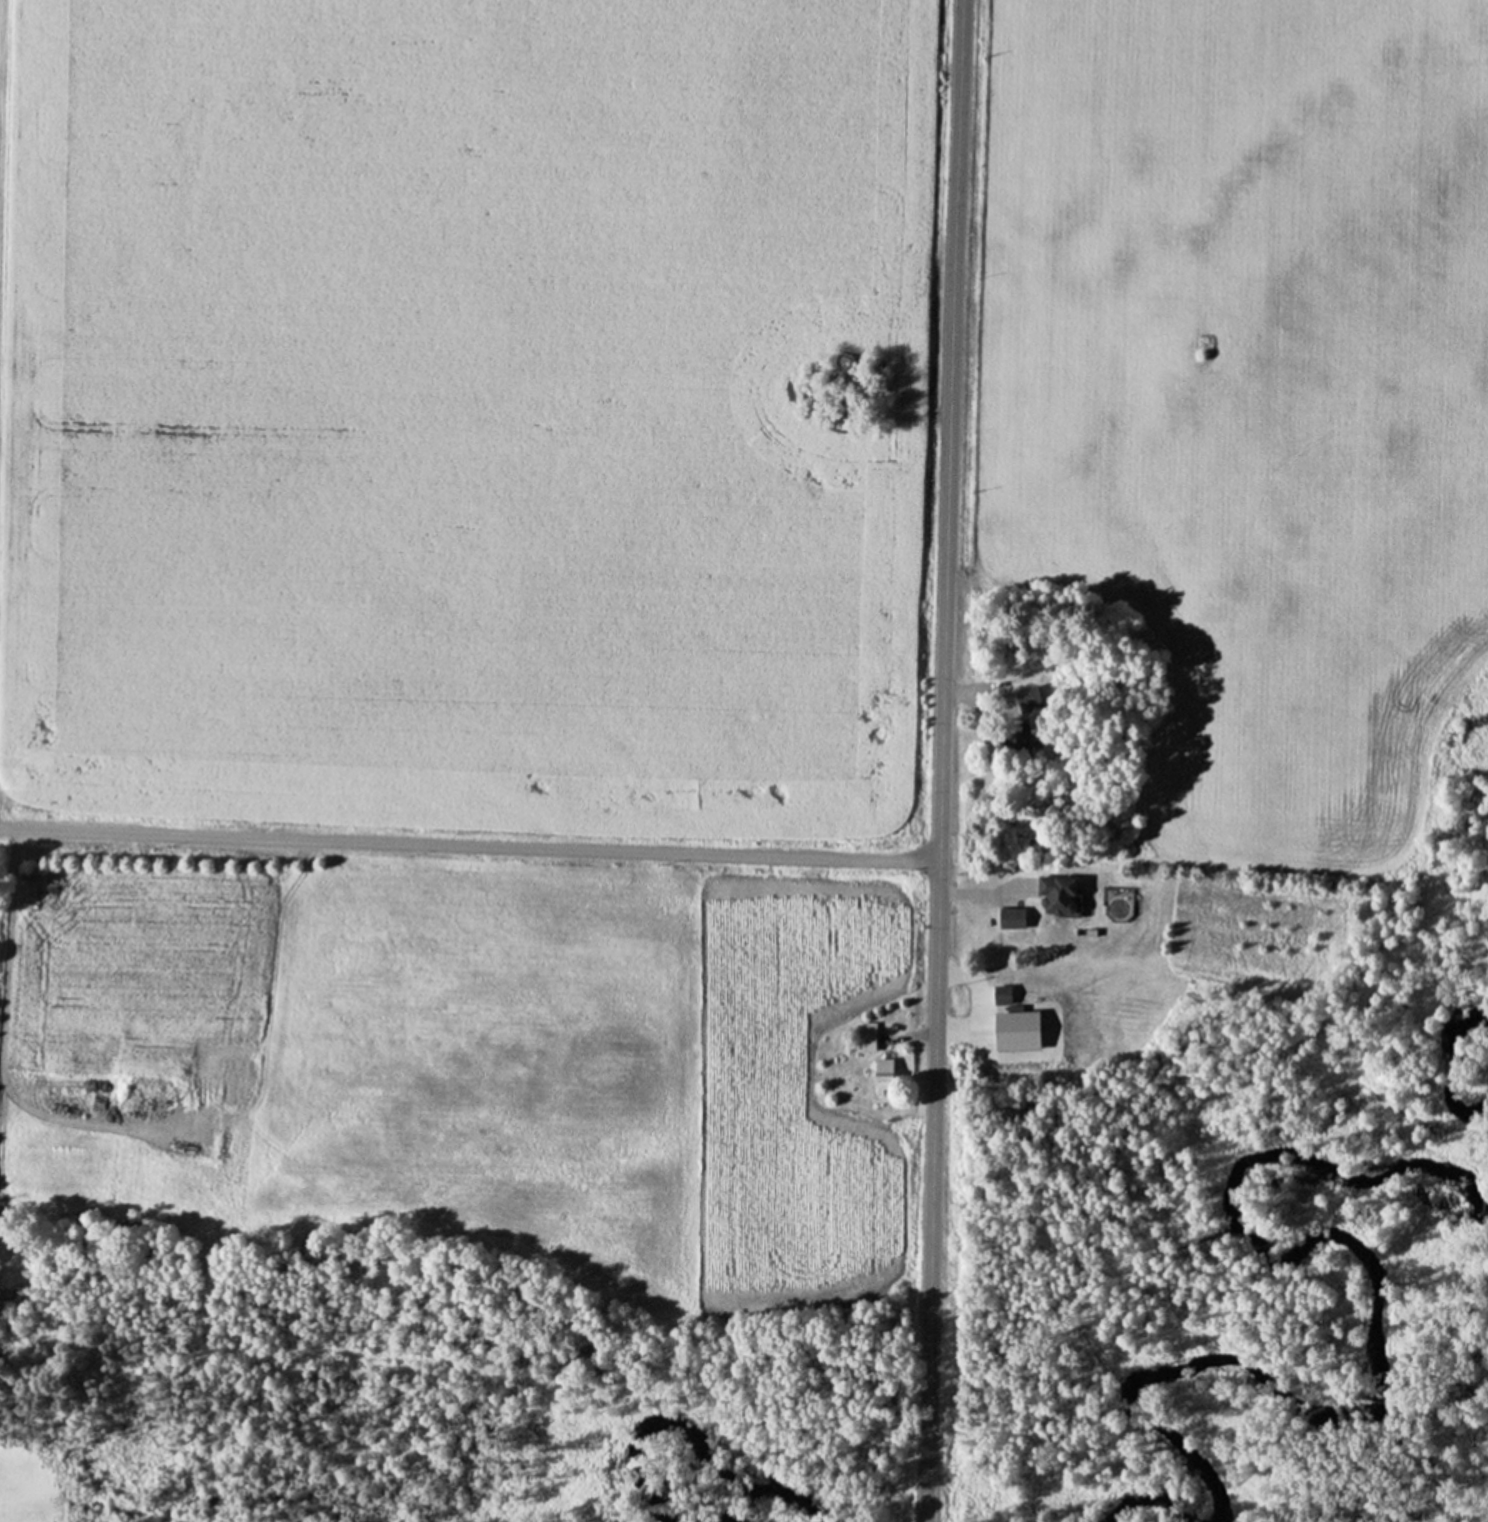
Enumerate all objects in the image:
building: (1005, 737)
road: (939, 760)
road: (468, 844)
building: (1055, 893)
building: (1014, 1005)
road: (3, 1037)
river: (1441, 1058)
building: (882, 1075)
river: (1375, 1367)
river: (665, 1417)

